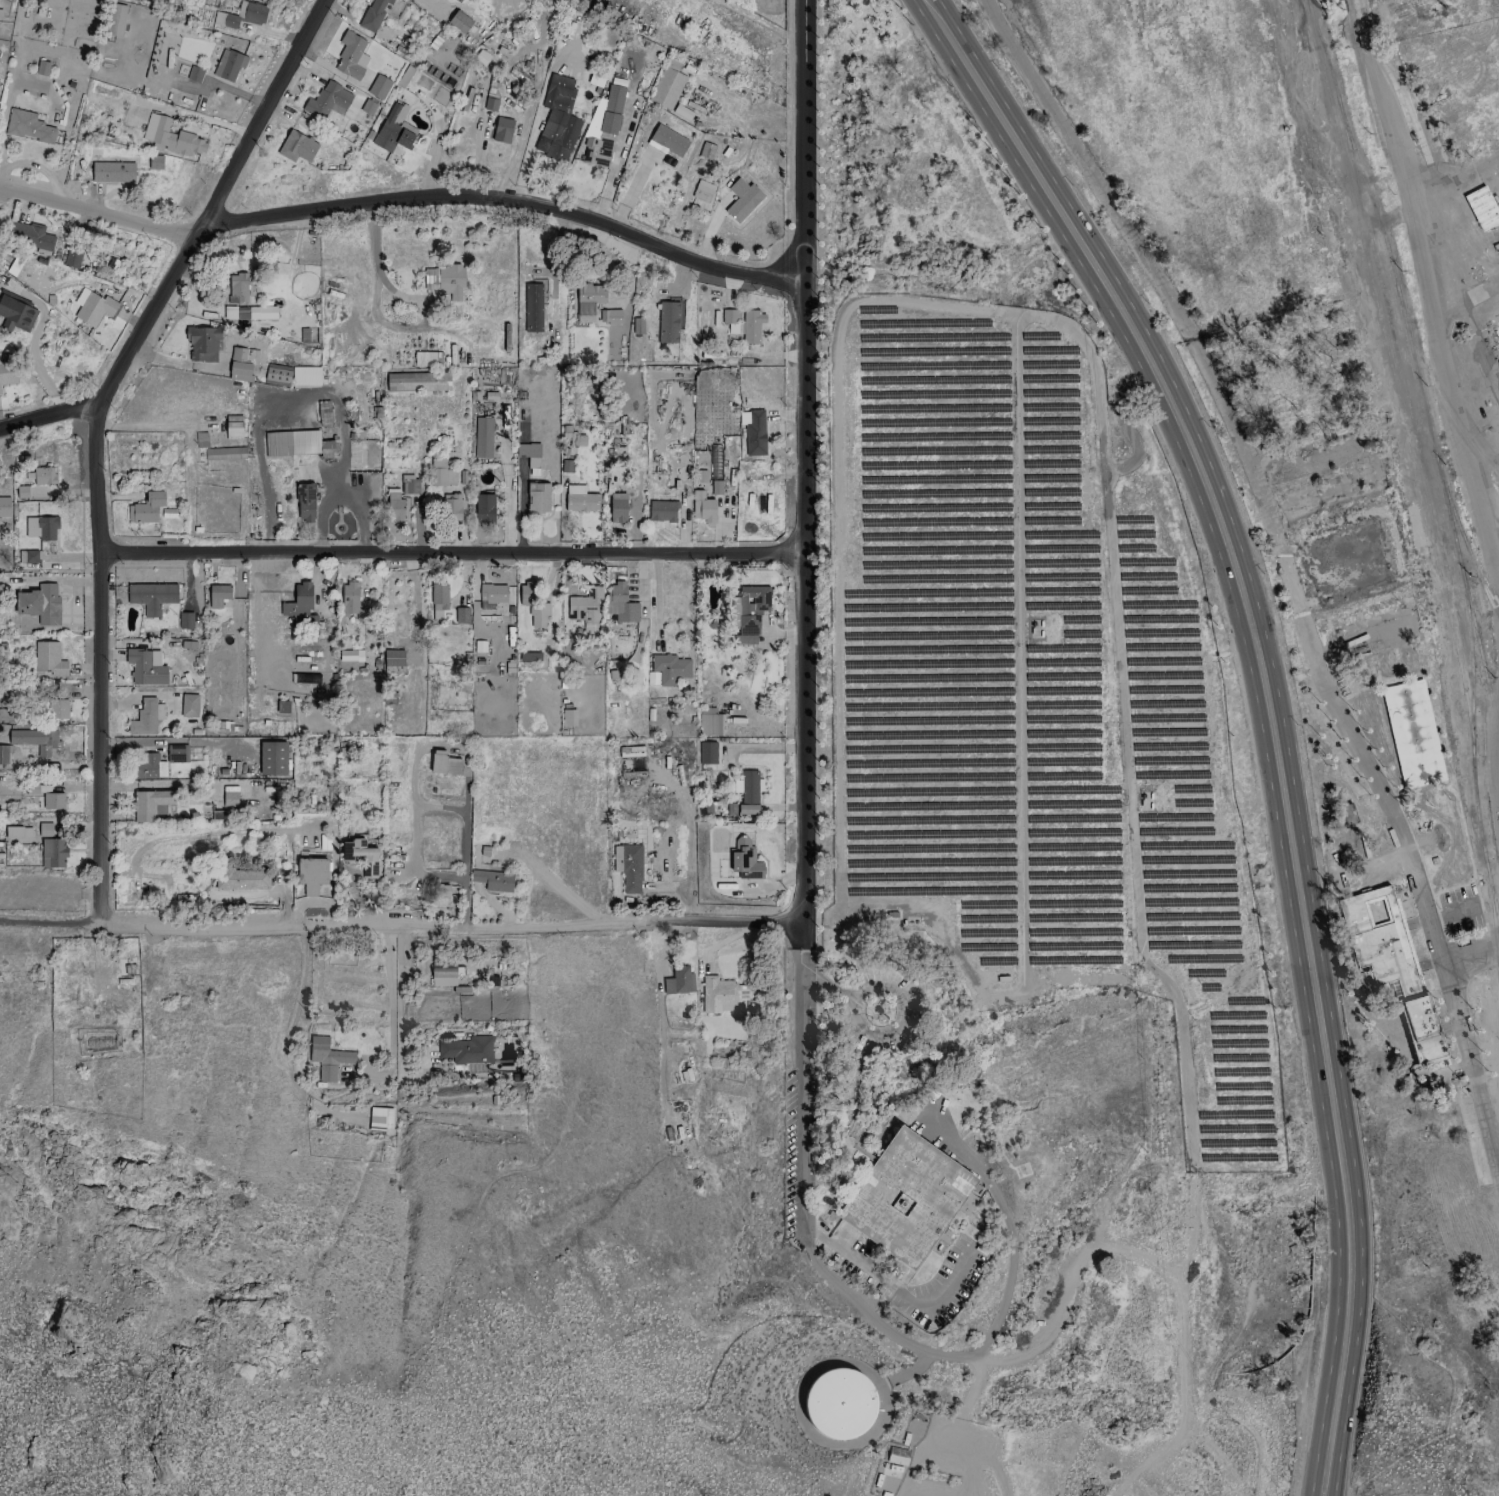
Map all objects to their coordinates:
building: (208, 2)
building: (244, 14)
building: (373, 14)
building: (459, 21)
building: (351, 55)
building: (229, 64)
building: (194, 73)
building: (378, 86)
building: (667, 88)
building: (327, 101)
building: (368, 106)
building: (682, 111)
building: (557, 119)
road: (255, 120)
building: (28, 126)
building: (602, 127)
building: (502, 129)
building: (393, 131)
building: (170, 136)
building: (668, 140)
building: (297, 146)
building: (706, 150)
road: (1398, 157)
building: (149, 161)
building: (112, 171)
road: (1455, 177)
building: (702, 190)
road: (511, 199)
building: (742, 199)
building: (1481, 208)
road: (95, 210)
building: (31, 234)
building: (72, 256)
building: (450, 282)
building: (238, 286)
building: (588, 301)
building: (532, 307)
building: (94, 308)
building: (16, 312)
building: (249, 312)
building: (609, 316)
building: (730, 319)
building: (667, 322)
building: (637, 325)
building: (751, 325)
building: (202, 343)
building: (427, 358)
building: (242, 363)
railway: (1413, 363)
building: (8, 372)
building: (270, 374)
building: (305, 375)
railway: (1393, 377)
building: (417, 381)
building: (0, 391)
railway: (1405, 395)
road: (1453, 400)
railway: (1447, 411)
road: (48, 413)
building: (233, 427)
building: (754, 432)
building: (482, 437)
building: (573, 437)
building: (297, 443)
building: (224, 453)
building: (528, 453)
building: (441, 473)
road: (804, 474)
building: (43, 475)
building: (409, 485)
building: (537, 497)
building: (580, 499)
building: (304, 502)
building: (4, 506)
building: (394, 506)
building: (452, 506)
building: (146, 507)
building: (618, 507)
building: (484, 508)
building: (703, 508)
building: (661, 511)
building: (41, 527)
railway: (1463, 539)
road: (453, 553)
building: (30, 556)
road: (101, 557)
road: (1285, 572)
railway: (1482, 575)
building: (492, 594)
building: (217, 595)
road: (655, 595)
building: (151, 596)
building: (439, 596)
building: (298, 601)
building: (353, 602)
building: (39, 603)
building: (621, 603)
building: (533, 604)
building: (585, 607)
building: (748, 613)
building: (461, 615)
building: (185, 619)
railway: (1473, 621)
building: (350, 655)
building: (530, 656)
building: (49, 659)
building: (393, 661)
building: (146, 666)
building: (669, 668)
road: (1265, 698)
solar farm: (1031, 700)
railway: (1490, 700)
building: (189, 705)
building: (58, 708)
building: (146, 717)
building: (568, 717)
building: (710, 722)
road: (1492, 734)
building: (36, 740)
road: (443, 744)
building: (707, 752)
building: (177, 753)
building: (4, 754)
building: (272, 758)
railway: (1472, 761)
building: (444, 763)
building: (145, 765)
building: (749, 791)
building: (229, 798)
building: (53, 800)
building: (150, 804)
building: (220, 814)
building: (44, 829)
building: (53, 853)
railway: (1484, 857)
building: (369, 858)
building: (744, 859)
building: (628, 866)
building: (312, 875)
building: (242, 879)
building: (494, 880)
railway: (1492, 920)
road: (51, 922)
road: (446, 924)
road: (1471, 947)
building: (1390, 963)
building: (679, 980)
road: (826, 984)
road: (893, 989)
building: (718, 994)
road: (390, 1009)
building: (467, 1049)
building: (327, 1057)
building: (475, 1067)
road: (802, 1098)
building: (380, 1118)
building: (906, 1197)
road: (890, 1288)
road: (991, 1336)
building: (841, 1403)
storage tank: (841, 1403)
building: (897, 1456)
road: (1314, 1485)
road: (1328, 1485)

